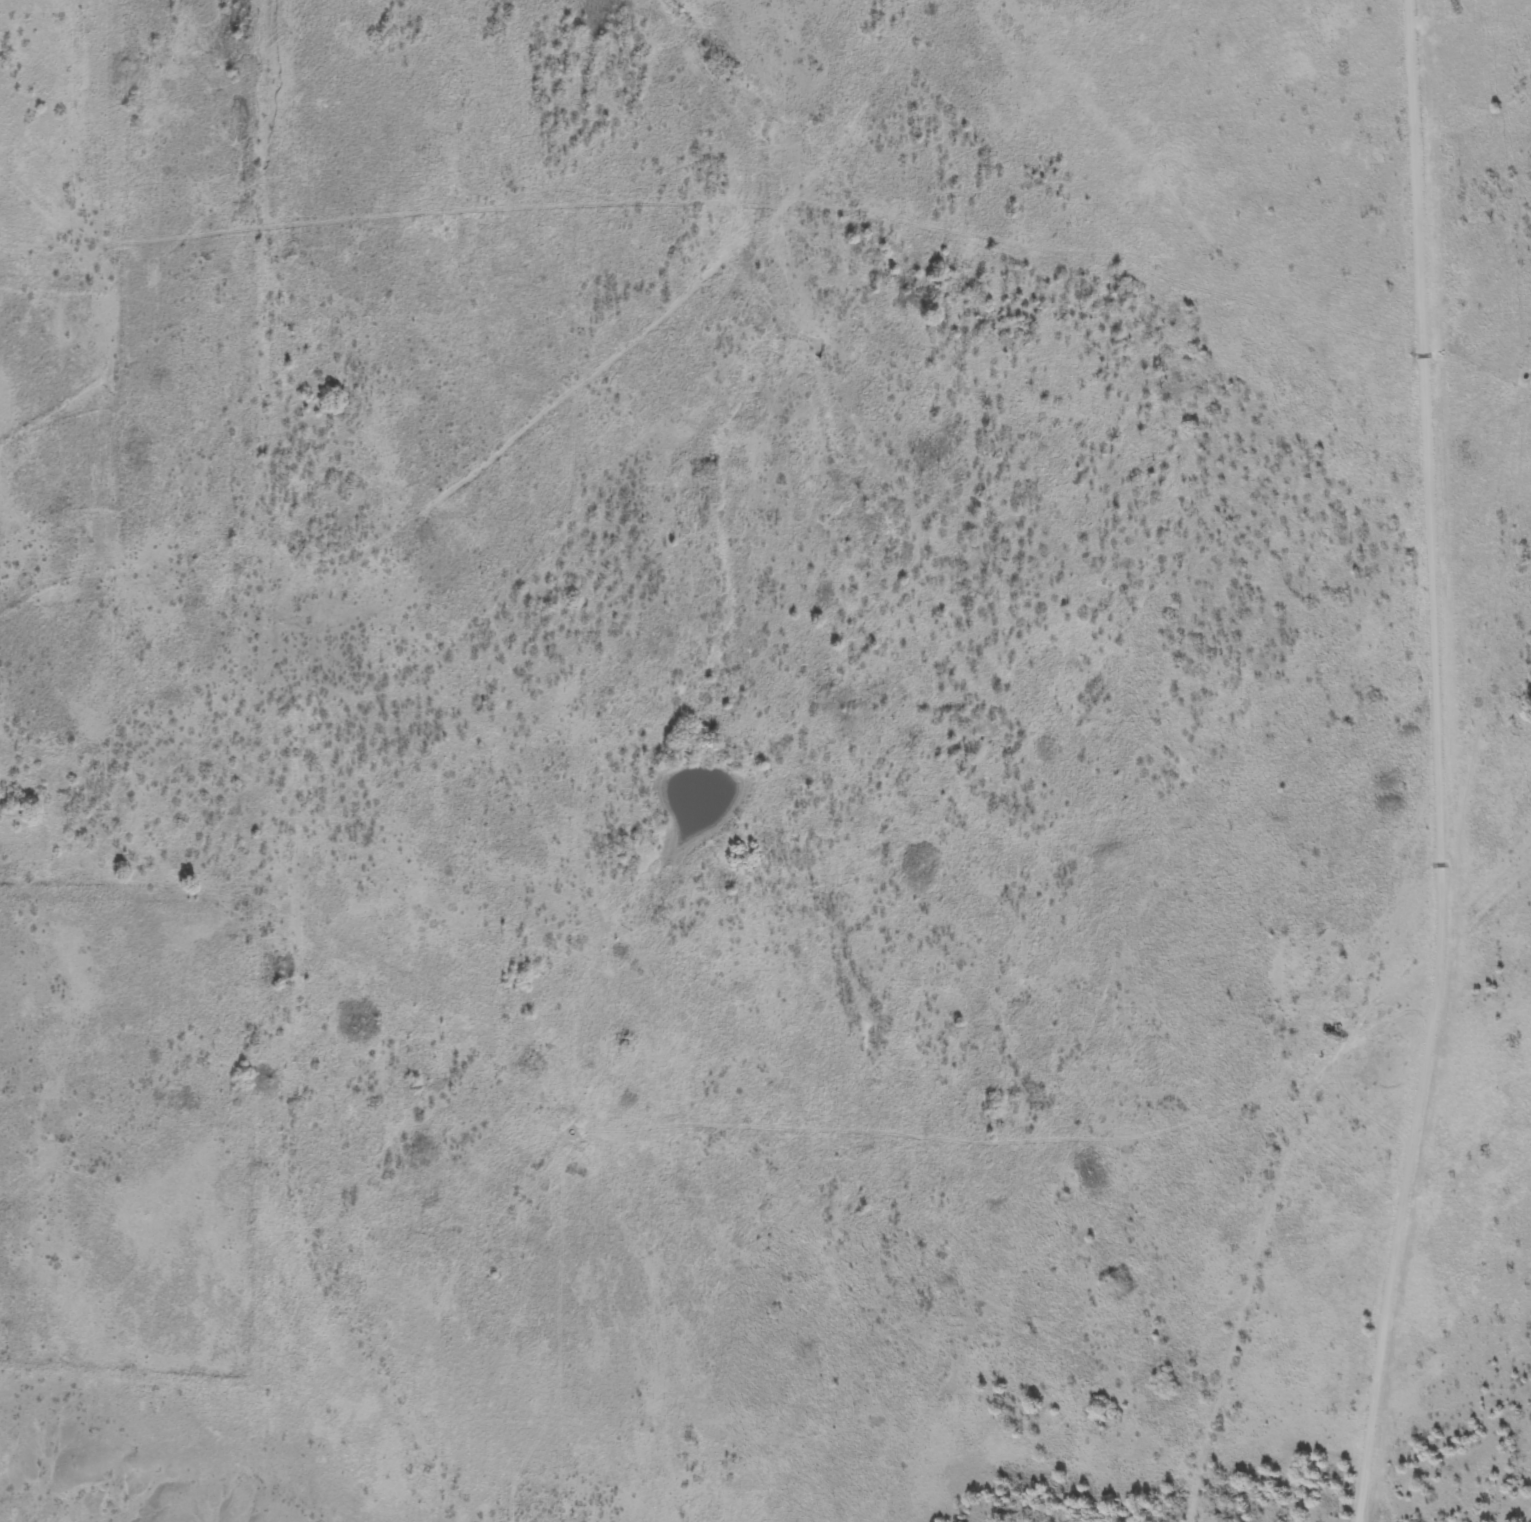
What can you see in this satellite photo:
road: (1434, 763)

